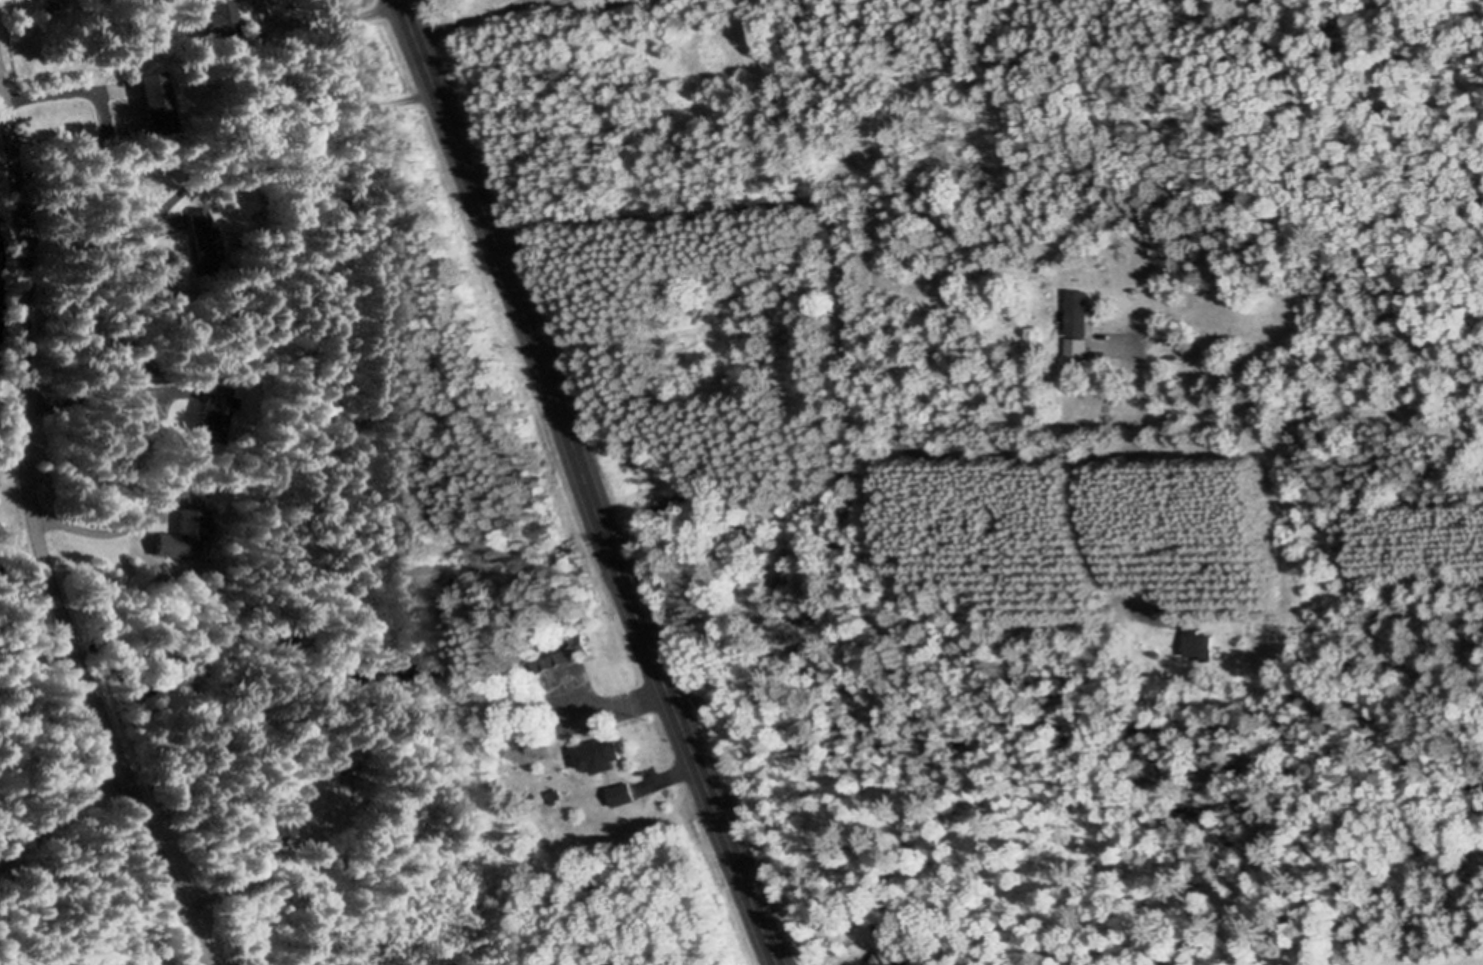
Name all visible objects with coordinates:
road: (582, 5)
building: (222, 17)
road: (344, 17)
road: (470, 19)
road: (57, 87)
building: (156, 94)
building: (203, 228)
road: (91, 238)
building: (1080, 322)
road: (845, 339)
road: (95, 396)
building: (218, 411)
road: (589, 482)
road: (96, 532)
road: (37, 535)
road: (1100, 535)
building: (1166, 601)
building: (1199, 638)
building: (569, 652)
road: (628, 704)
building: (602, 755)
building: (339, 759)
road: (676, 773)
building: (623, 794)
road: (61, 817)
park: (69, 817)
building: (283, 826)
road: (249, 873)
building: (889, 943)

